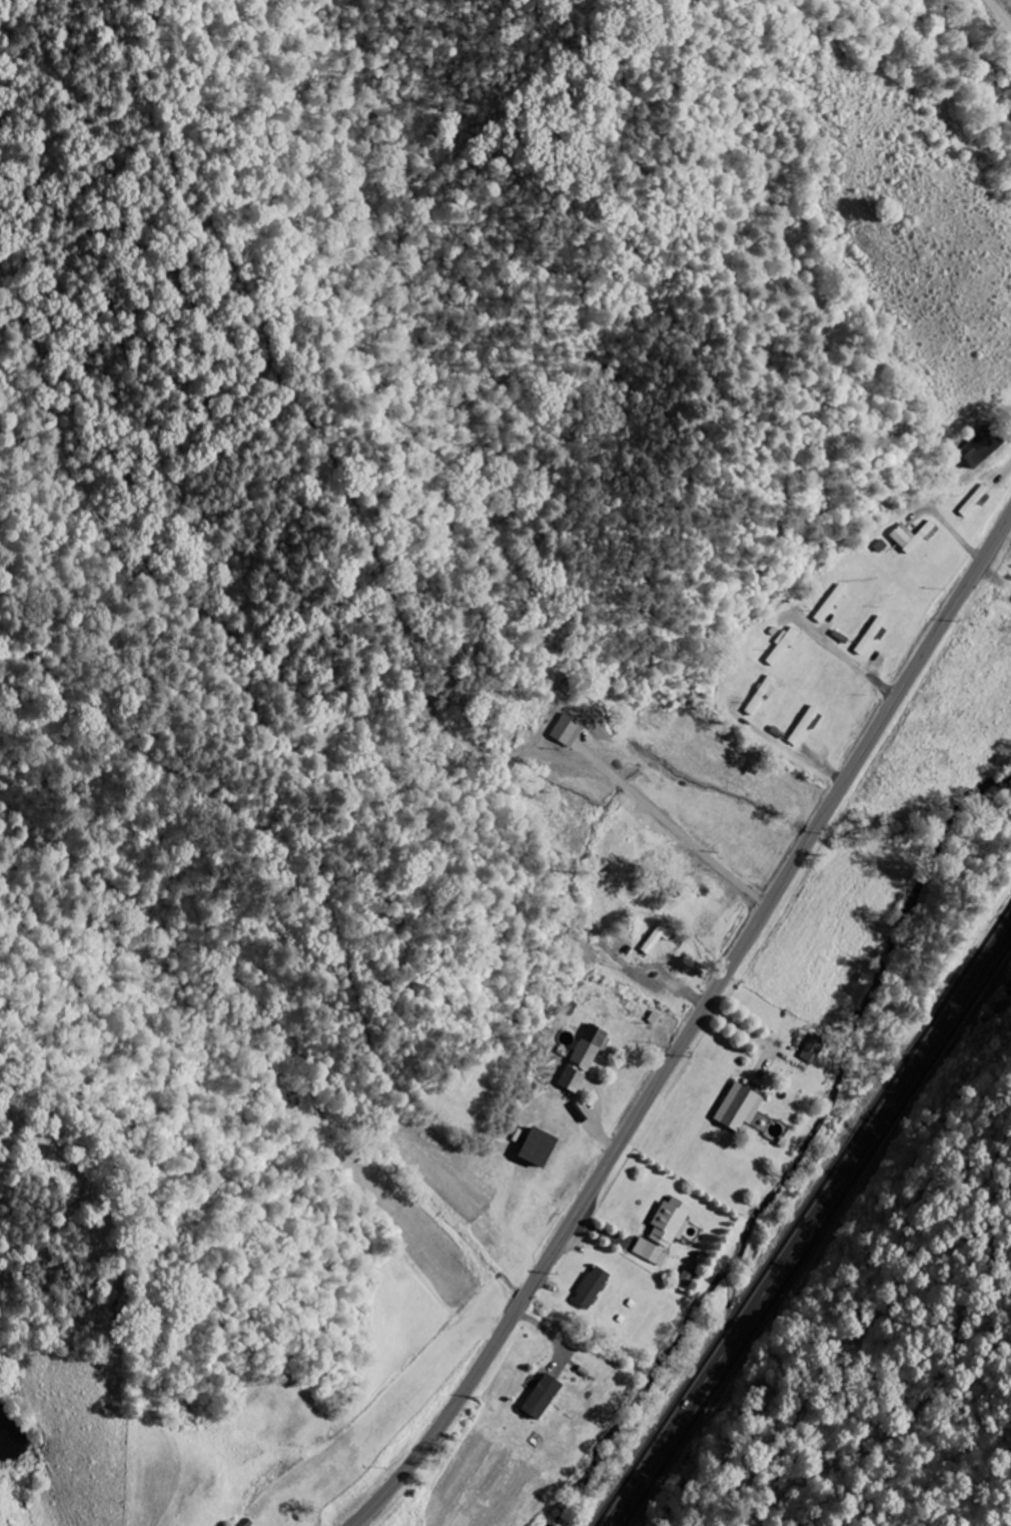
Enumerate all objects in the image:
building: (975, 452)
building: (911, 537)
building: (874, 636)
road: (872, 679)
building: (762, 696)
building: (571, 731)
road: (799, 757)
building: (661, 938)
road: (691, 1027)
building: (585, 1059)
building: (742, 1108)
building: (545, 1148)
building: (673, 1222)
road: (808, 1224)
building: (653, 1253)
building: (594, 1288)
building: (546, 1398)

